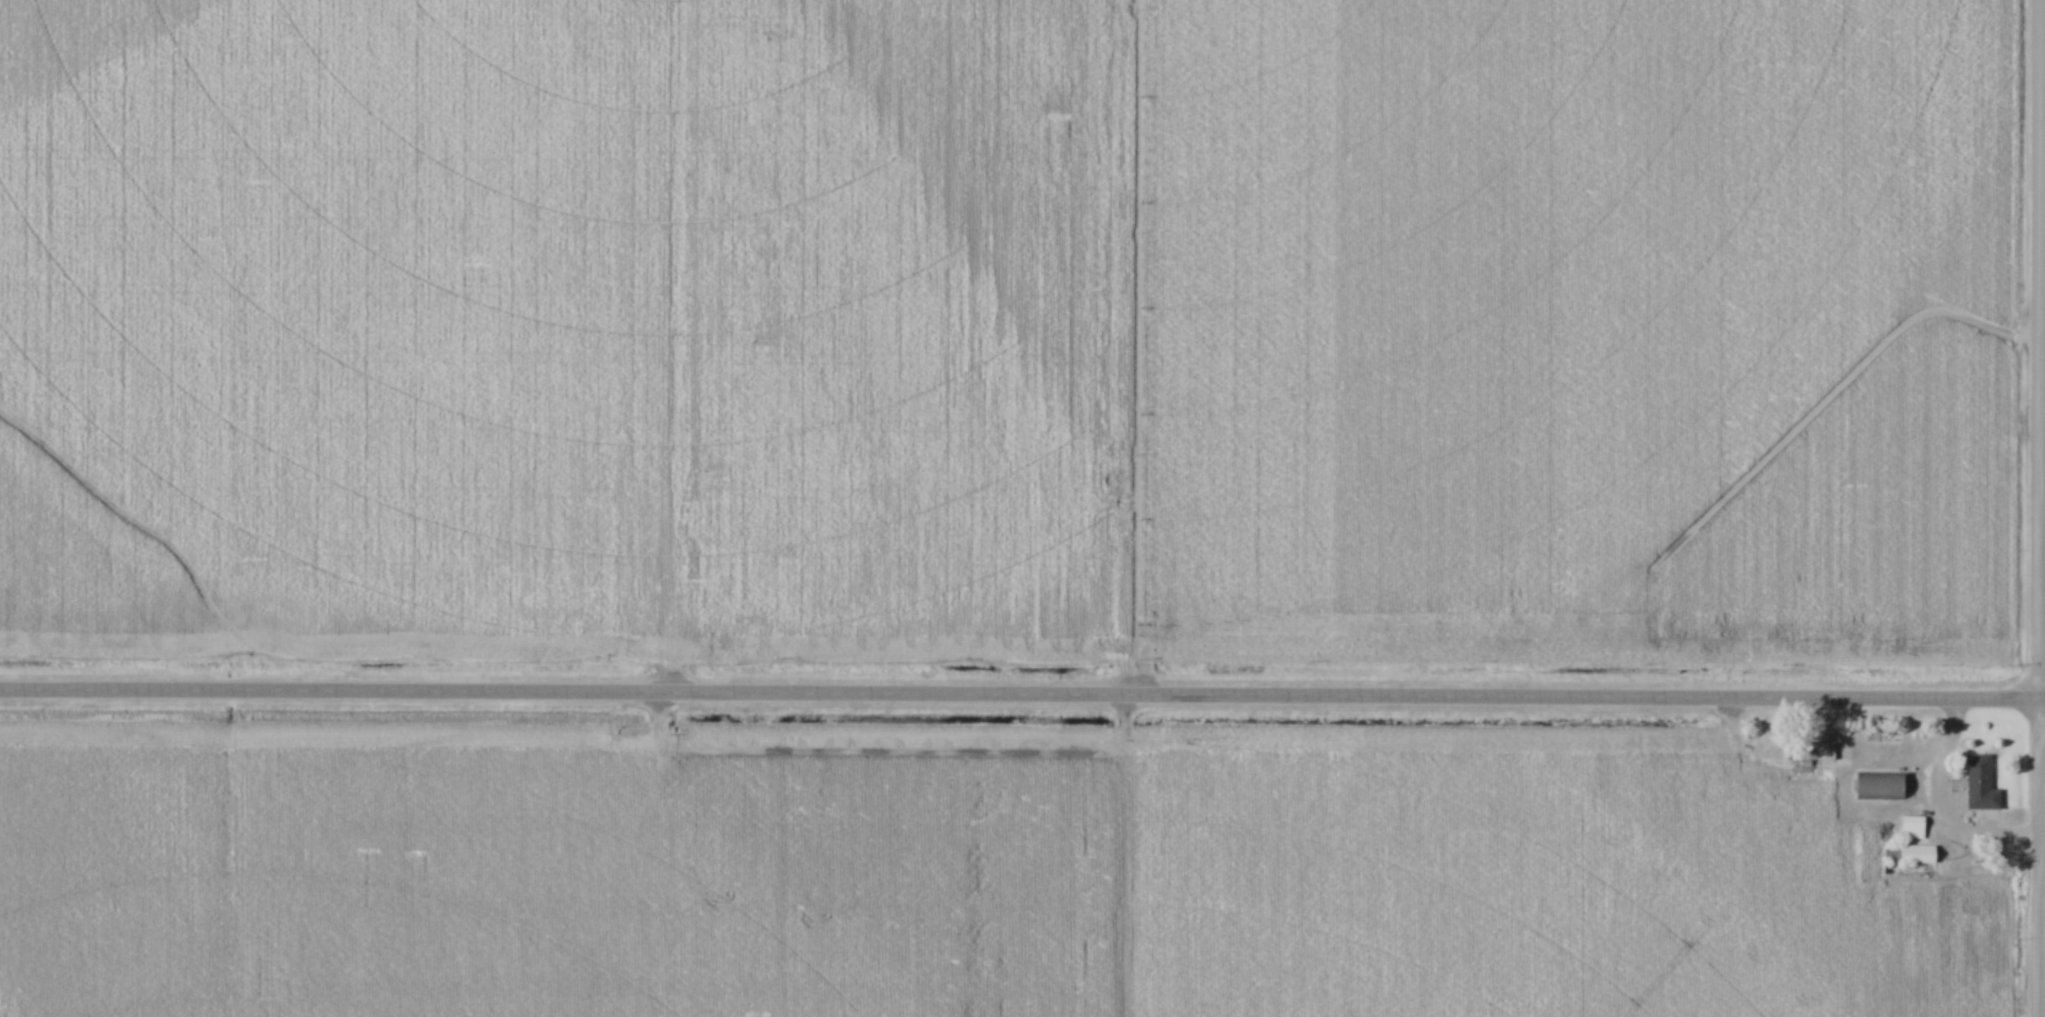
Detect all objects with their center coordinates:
crop: (1014, 326)
road: (2037, 508)
road: (1022, 693)
building: (1807, 749)
building: (1875, 784)
building: (1979, 784)
road: (1935, 804)
building: (1910, 824)
building: (1907, 851)
crop: (954, 875)

